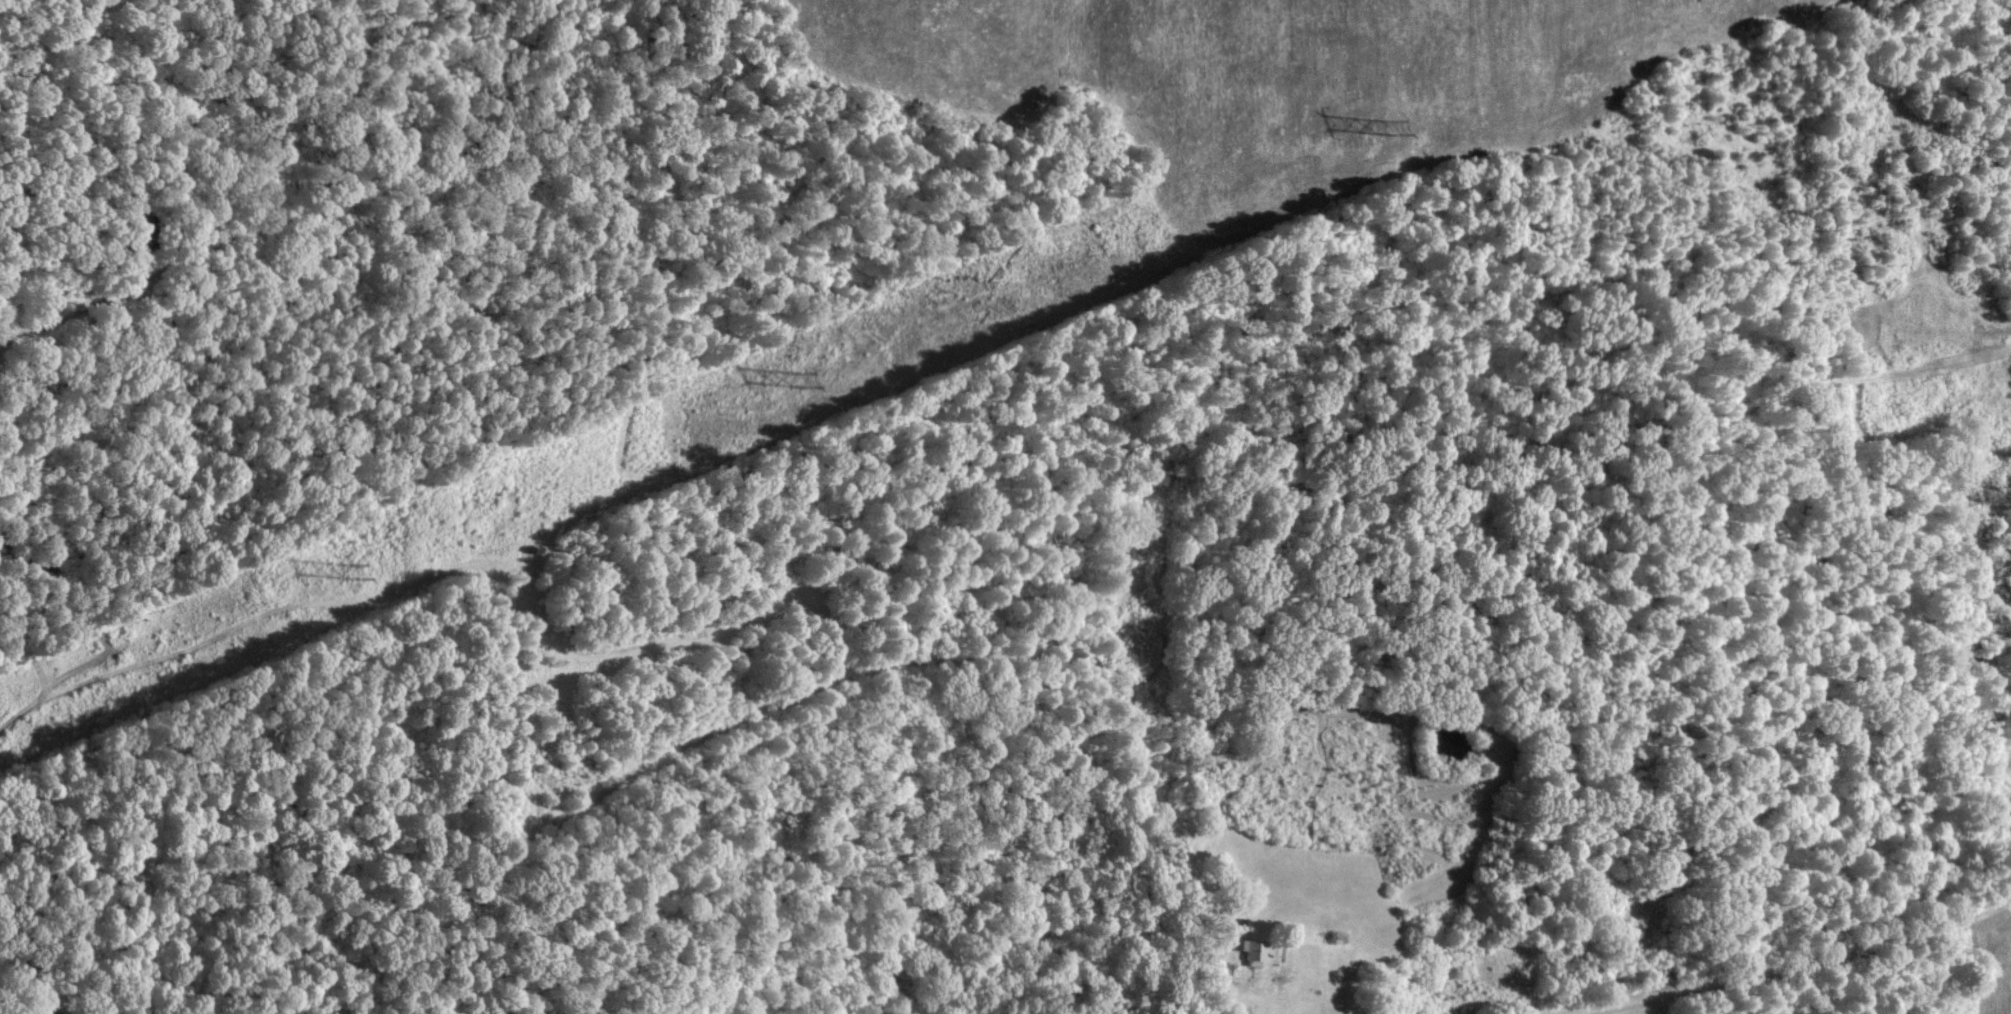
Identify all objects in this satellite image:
power tower: (1383, 126)
building: (142, 228)
power tower: (795, 378)
power tower: (348, 570)
building: (1250, 950)
road: (1786, 964)

